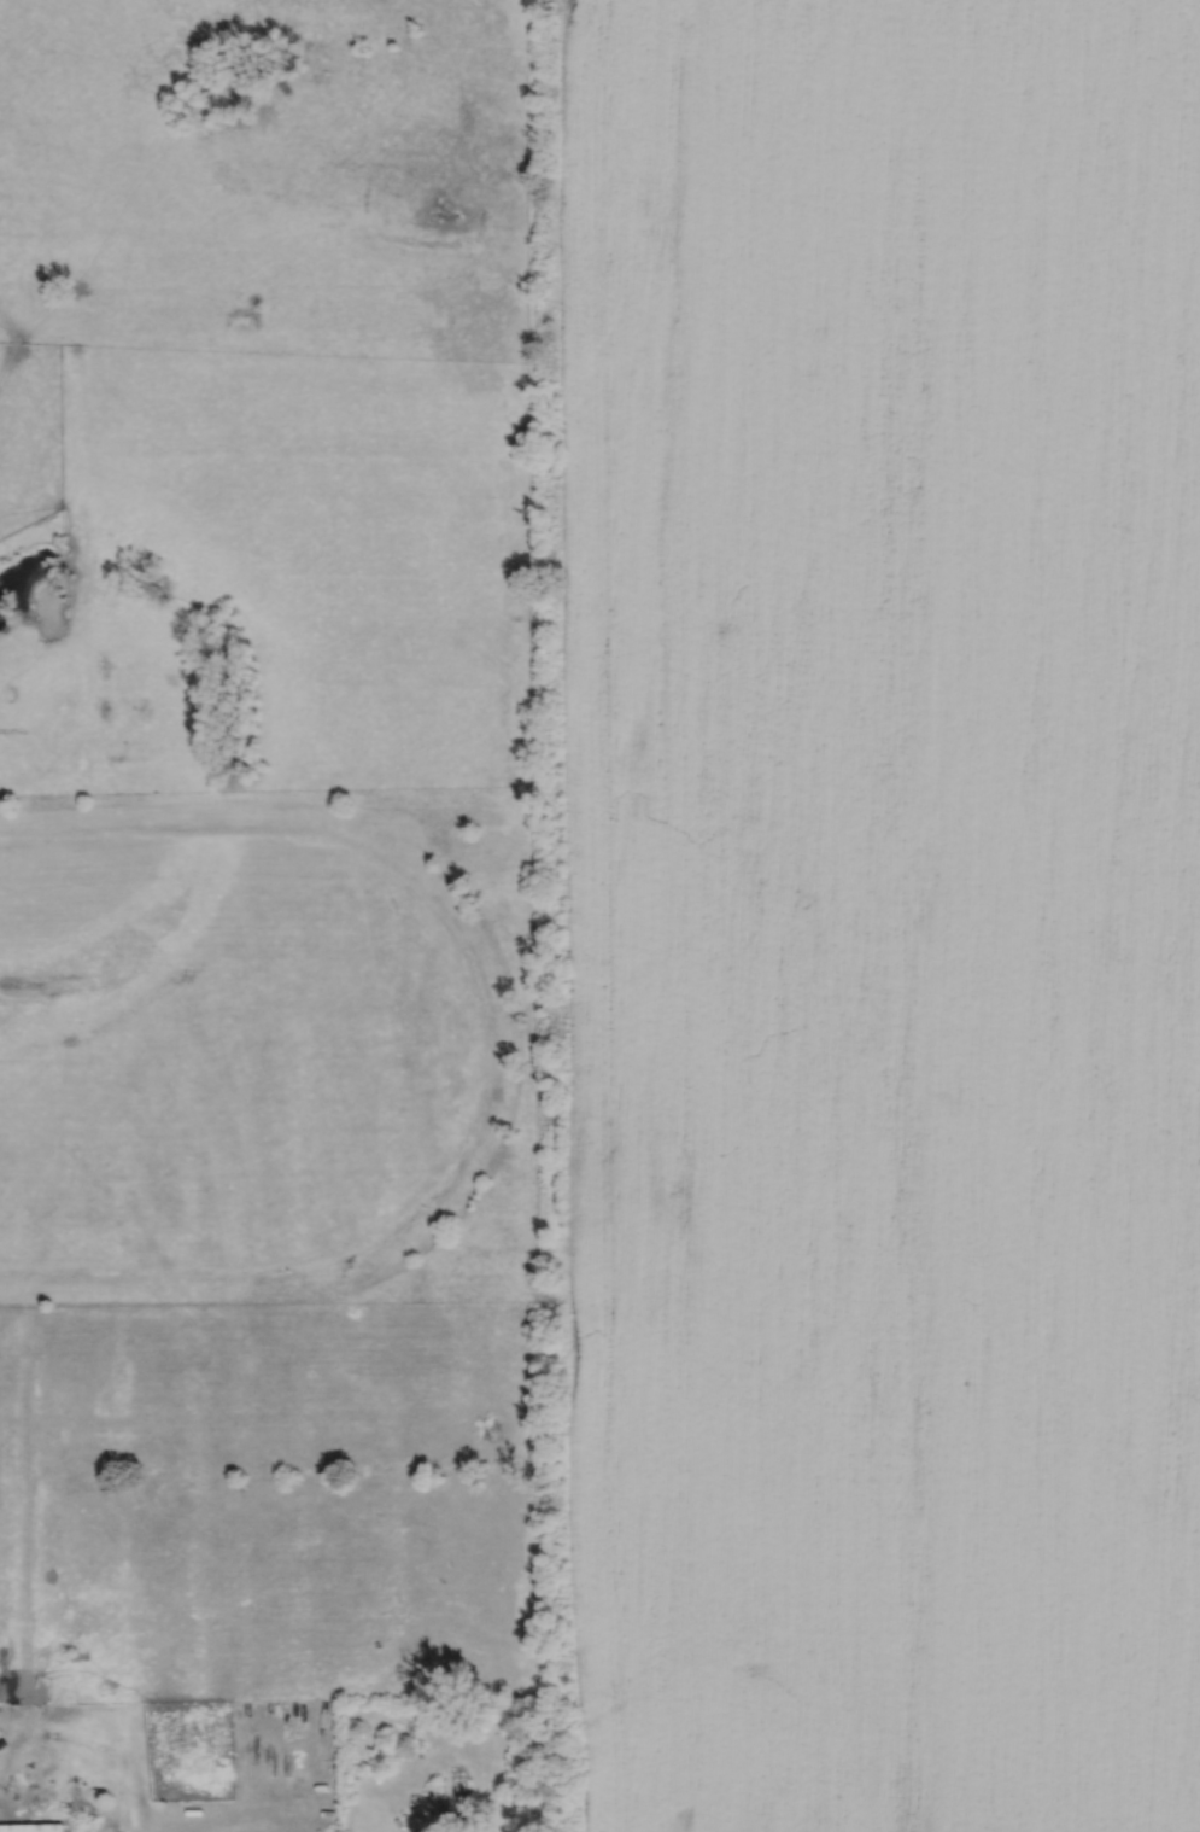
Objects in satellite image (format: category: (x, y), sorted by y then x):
building: (80, 1657)

